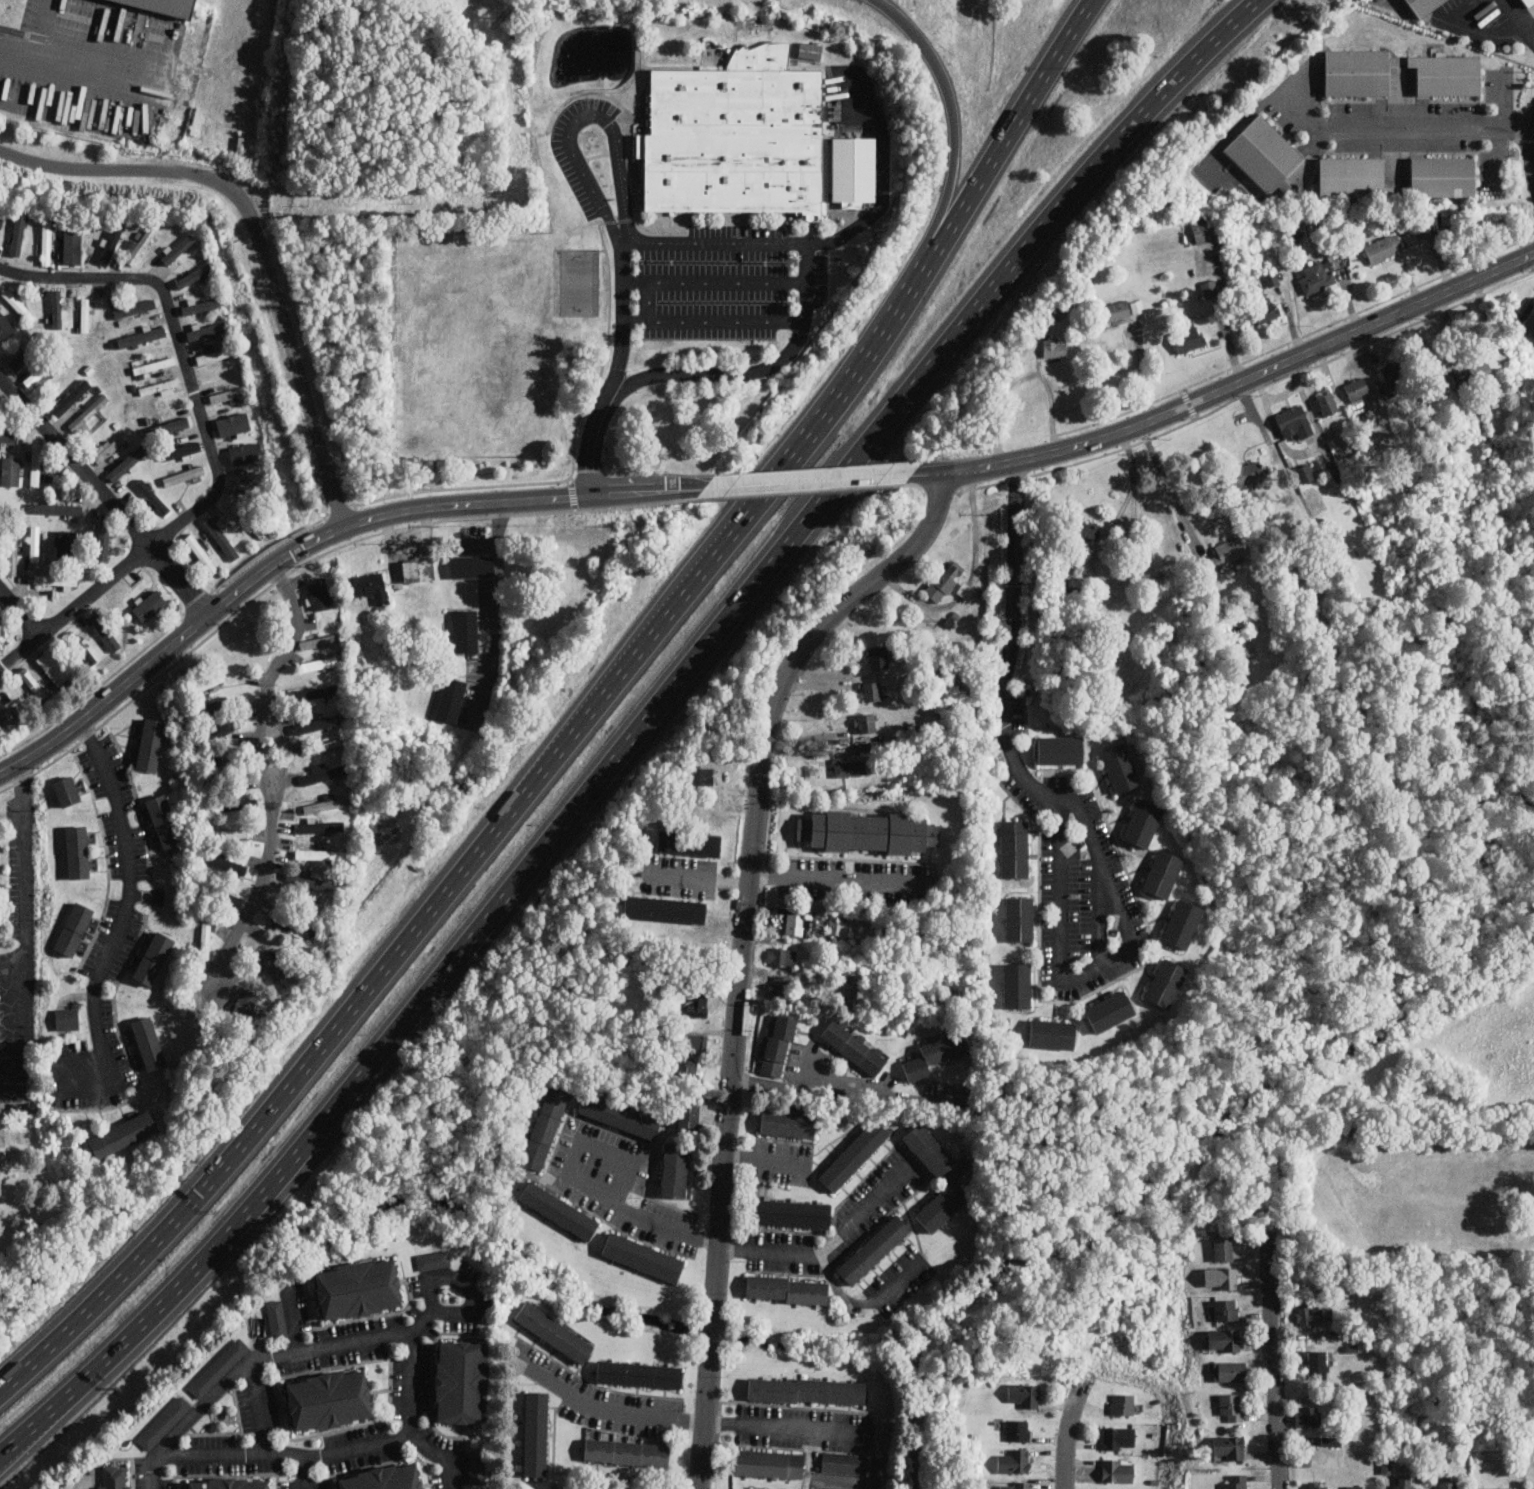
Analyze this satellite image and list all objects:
building: (188, 1)
building: (1524, 1)
building: (1423, 6)
road: (1520, 17)
road: (1221, 35)
building: (810, 50)
road: (74, 60)
building: (1357, 71)
building: (1447, 74)
road: (1507, 105)
road: (954, 116)
road: (1014, 127)
road: (1332, 128)
building: (736, 139)
building: (1264, 155)
road: (1501, 155)
road: (1533, 155)
road: (630, 172)
building: (1352, 177)
building: (1442, 177)
building: (1, 221)
building: (18, 230)
building: (1204, 230)
building: (1410, 236)
road: (260, 240)
building: (46, 241)
road: (822, 241)
building: (111, 243)
building: (140, 244)
building: (72, 246)
building: (1383, 248)
building: (178, 249)
building: (194, 275)
building: (1317, 276)
building: (1275, 277)
road: (717, 279)
building: (1210, 287)
road: (628, 302)
building: (18, 305)
building: (201, 306)
building: (134, 308)
building: (1267, 310)
building: (1116, 311)
building: (85, 314)
road: (717, 320)
building: (1528, 324)
building: (6, 326)
building: (141, 336)
building: (1189, 337)
building: (1055, 347)
building: (22, 356)
building: (212, 356)
road: (1300, 357)
road: (762, 371)
building: (1480, 371)
building: (1393, 373)
building: (1442, 375)
road: (1023, 376)
building: (1456, 378)
building: (160, 386)
building: (1357, 390)
building: (228, 394)
building: (71, 397)
building: (1327, 401)
building: (88, 411)
road: (202, 418)
building: (1295, 422)
building: (173, 424)
building: (8, 435)
building: (109, 447)
building: (245, 453)
building: (128, 462)
building: (35, 464)
road: (994, 469)
building: (10, 470)
building: (1305, 472)
building: (1248, 473)
building: (184, 475)
road: (818, 481)
road: (1171, 490)
road: (653, 492)
road: (106, 495)
building: (152, 496)
building: (57, 508)
building: (237, 508)
road: (736, 530)
building: (1086, 531)
building: (103, 536)
building: (221, 538)
building: (34, 543)
building: (66, 543)
building: (201, 554)
building: (1226, 554)
building: (12, 555)
road: (1134, 564)
building: (471, 566)
building: (418, 570)
road: (268, 571)
building: (55, 579)
building: (945, 580)
building: (368, 586)
building: (965, 589)
building: (319, 593)
road: (21, 609)
road: (495, 613)
building: (1, 622)
building: (466, 630)
building: (317, 641)
road: (22, 652)
building: (87, 655)
building: (877, 657)
building: (319, 663)
building: (53, 666)
building: (209, 682)
building: (33, 684)
building: (871, 691)
building: (317, 692)
building: (450, 698)
building: (216, 705)
building: (5, 710)
building: (867, 722)
building: (317, 724)
building: (150, 744)
building: (329, 744)
road: (626, 748)
building: (1060, 749)
road: (286, 754)
building: (223, 765)
building: (850, 767)
building: (1120, 768)
building: (324, 773)
building: (702, 776)
road: (266, 784)
building: (67, 790)
building: (326, 803)
building: (164, 820)
building: (1142, 822)
building: (320, 827)
building: (868, 831)
building: (228, 833)
road: (1061, 836)
building: (689, 843)
building: (1014, 848)
building: (77, 851)
building: (319, 854)
building: (1163, 873)
road: (700, 878)
road: (840, 878)
building: (311, 881)
building: (665, 909)
road: (1099, 911)
road: (127, 912)
building: (1019, 919)
building: (1182, 923)
building: (796, 924)
building: (74, 928)
building: (843, 928)
building: (206, 930)
road: (28, 931)
road: (743, 948)
building: (782, 957)
building: (154, 958)
building: (270, 965)
building: (1166, 982)
building: (1017, 985)
building: (782, 986)
building: (694, 1002)
building: (1109, 1010)
building: (66, 1018)
building: (1052, 1034)
building: (695, 1041)
building: (148, 1042)
building: (778, 1044)
building: (854, 1045)
building: (935, 1055)
building: (688, 1069)
road: (848, 1089)
road: (276, 1105)
building: (619, 1115)
building: (689, 1115)
building: (788, 1123)
building: (545, 1127)
building: (123, 1135)
building: (929, 1149)
building: (2, 1154)
building: (853, 1154)
road: (769, 1162)
building: (674, 1169)
building: (942, 1205)
building: (559, 1210)
building: (790, 1212)
road: (681, 1232)
building: (1223, 1247)
building: (874, 1249)
building: (643, 1257)
building: (433, 1259)
building: (1220, 1278)
road: (462, 1279)
building: (359, 1287)
building: (787, 1289)
road: (868, 1308)
building: (1224, 1309)
building: (1309, 1314)
building: (276, 1316)
road: (301, 1320)
building: (555, 1330)
building: (1223, 1340)
building: (1317, 1362)
building: (219, 1366)
road: (259, 1366)
road: (1274, 1369)
building: (1229, 1371)
building: (640, 1372)
building: (463, 1380)
road: (603, 1385)
building: (808, 1389)
building: (1023, 1395)
building: (330, 1398)
building: (1123, 1403)
road: (774, 1404)
building: (1231, 1406)
road: (608, 1408)
road: (265, 1410)
building: (1308, 1416)
road: (418, 1420)
building: (164, 1422)
road: (788, 1429)
building: (1017, 1430)
road: (27, 1432)
building: (537, 1432)
building: (1119, 1438)
building: (1329, 1440)
road: (709, 1441)
road: (739, 1443)
road: (1066, 1446)
building: (1229, 1447)
building: (628, 1451)
road: (293, 1453)
building: (1013, 1461)
building: (770, 1462)
building: (845, 1462)
building: (1386, 1464)
building: (477, 1466)
building: (1118, 1470)
road: (312, 1472)
road: (593, 1473)
building: (115, 1477)
building: (385, 1477)
building: (1403, 1481)
building: (1237, 1482)
building: (1447, 1482)
building: (230, 1483)
building: (1015, 1484)
building: (1318, 1485)
building: (1357, 1487)
building: (1497, 1488)

